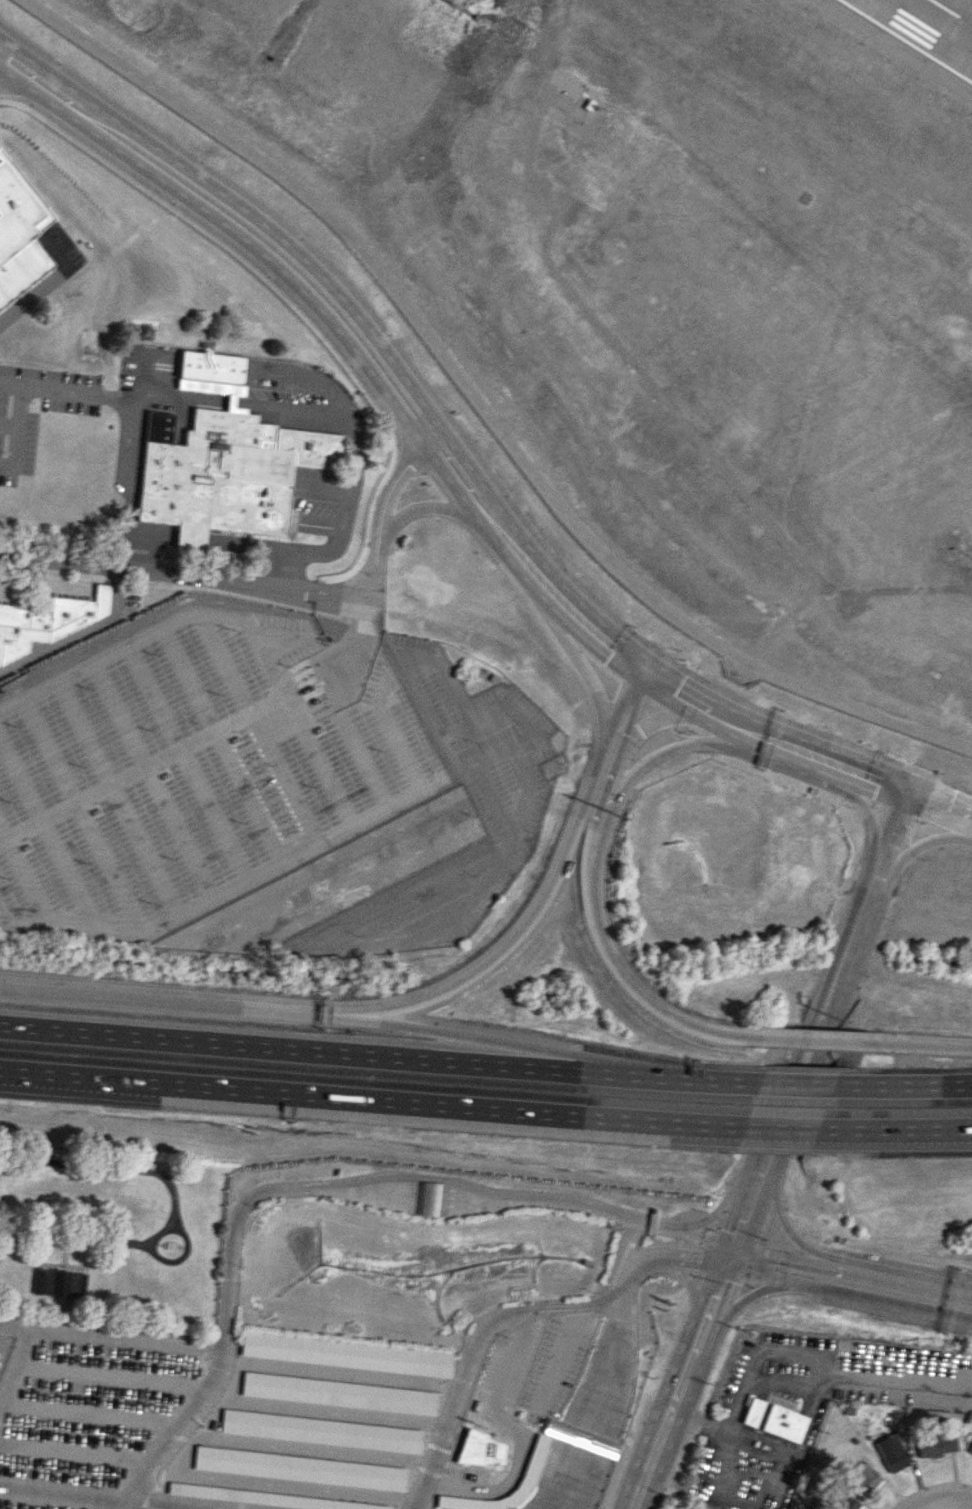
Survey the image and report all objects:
airport runway: (950, 13)
airport taxiway: (958, 15)
road: (7, 68)
building: (19, 232)
road: (277, 247)
airport: (652, 290)
road: (627, 355)
building: (214, 366)
road: (480, 403)
road: (136, 414)
road: (348, 419)
road: (7, 427)
road: (14, 429)
building: (226, 473)
road: (430, 506)
road: (152, 531)
road: (189, 537)
road: (376, 539)
road: (247, 544)
road: (520, 554)
road: (156, 570)
road: (970, 586)
road: (893, 589)
building: (48, 620)
road: (364, 627)
road: (78, 632)
road: (596, 632)
road: (148, 638)
road: (314, 660)
road: (327, 660)
traffic signals: (642, 668)
road: (391, 670)
road: (319, 672)
road: (286, 673)
road: (584, 673)
road: (345, 679)
road: (282, 686)
road: (292, 686)
road: (332, 687)
road: (673, 689)
road: (304, 697)
road: (336, 698)
road: (635, 702)
road: (296, 713)
road: (488, 714)
road: (665, 716)
road: (312, 717)
road: (423, 717)
road: (298, 722)
road: (734, 722)
road: (255, 727)
road: (220, 745)
road: (678, 746)
road: (793, 747)
road: (361, 760)
road: (187, 761)
road: (617, 763)
road: (142, 767)
parking lot: (254, 774)
road: (868, 776)
road: (153, 778)
road: (526, 792)
traffic signals: (910, 793)
road: (116, 797)
road: (941, 806)
road: (866, 808)
road: (79, 814)
road: (895, 831)
road: (47, 833)
road: (591, 839)
road: (923, 843)
road: (274, 861)
road: (24, 873)
road: (535, 907)
road: (2, 912)
road: (356, 925)
road: (641, 999)
road: (154, 1003)
road: (455, 1034)
road: (811, 1040)
road: (918, 1044)
road: (299, 1049)
road: (677, 1077)
road: (794, 1083)
road: (901, 1084)
road: (369, 1099)
road: (777, 1128)
road: (893, 1129)
road: (108, 1165)
road: (381, 1181)
road: (463, 1186)
road: (754, 1187)
road: (401, 1190)
road: (260, 1192)
road: (447, 1192)
road: (400, 1198)
building: (428, 1199)
road: (526, 1199)
road: (399, 1202)
road: (446, 1203)
road: (445, 1208)
road: (711, 1217)
road: (785, 1227)
road: (156, 1233)
road: (680, 1233)
road: (76, 1235)
park: (111, 1236)
traffic signals: (730, 1256)
road: (663, 1257)
road: (613, 1261)
road: (785, 1261)
road: (623, 1267)
building: (59, 1283)
road: (906, 1285)
road: (690, 1288)
road: (849, 1294)
road: (745, 1298)
road: (571, 1304)
road: (530, 1307)
road: (85, 1334)
road: (479, 1334)
road: (564, 1350)
building: (345, 1353)
road: (792, 1353)
road: (507, 1361)
parking lot: (556, 1364)
road: (609, 1366)
road: (341, 1373)
road: (112, 1376)
building: (339, 1392)
road: (196, 1405)
road: (583, 1405)
road: (588, 1406)
road: (598, 1410)
road: (324, 1411)
road: (603, 1412)
road: (608, 1414)
road: (91, 1415)
building: (773, 1419)
parking lot: (273, 1426)
building: (321, 1430)
building: (580, 1437)
road: (439, 1441)
building: (934, 1445)
road: (303, 1448)
building: (478, 1449)
building: (970, 1450)
road: (76, 1451)
building: (891, 1453)
building: (534, 1457)
road: (556, 1461)
road: (563, 1463)
building: (299, 1467)
road: (576, 1467)
road: (568, 1470)
road: (582, 1471)
road: (588, 1473)
building: (865, 1478)
road: (512, 1481)
road: (282, 1483)
road: (137, 1484)
road: (782, 1485)
building: (267, 1497)
road: (86, 1500)
building: (842, 1502)
road: (933, 1503)

